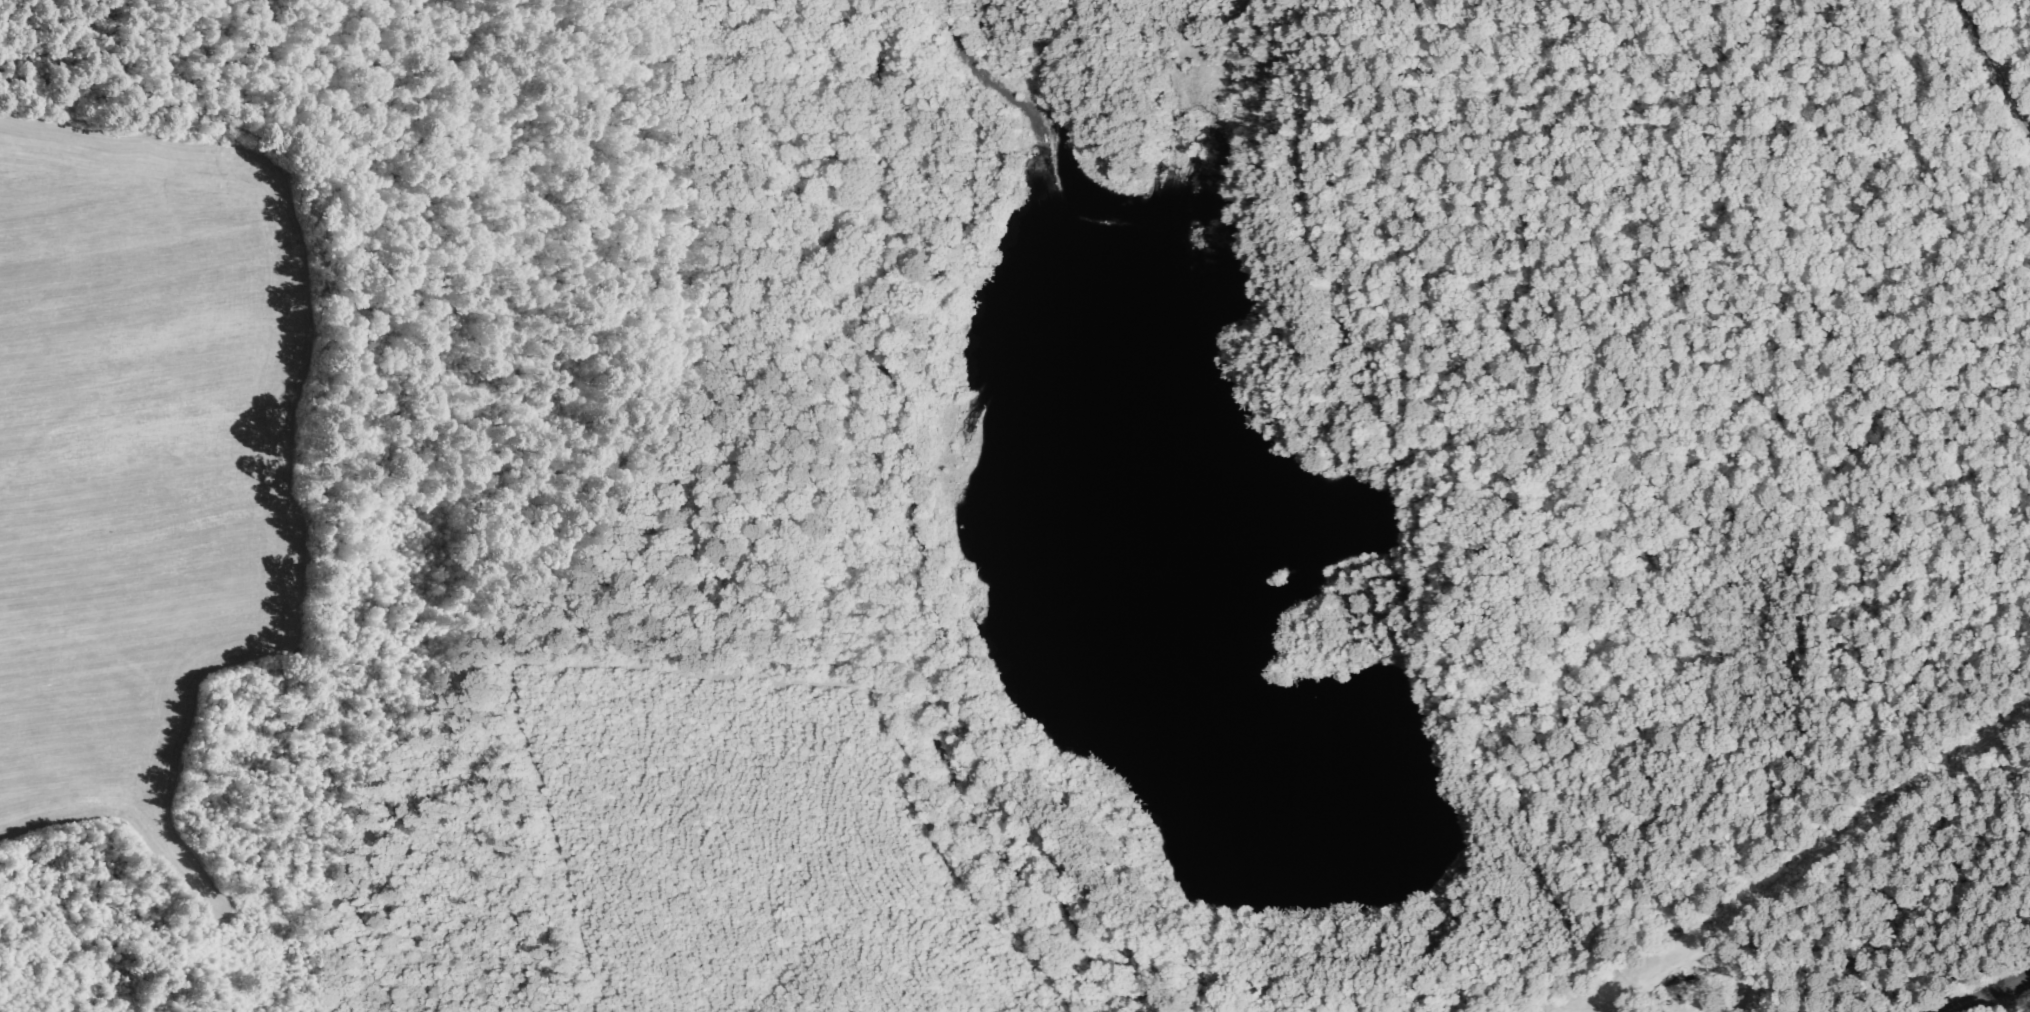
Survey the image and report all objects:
road: (1993, 65)
road: (2019, 1007)

